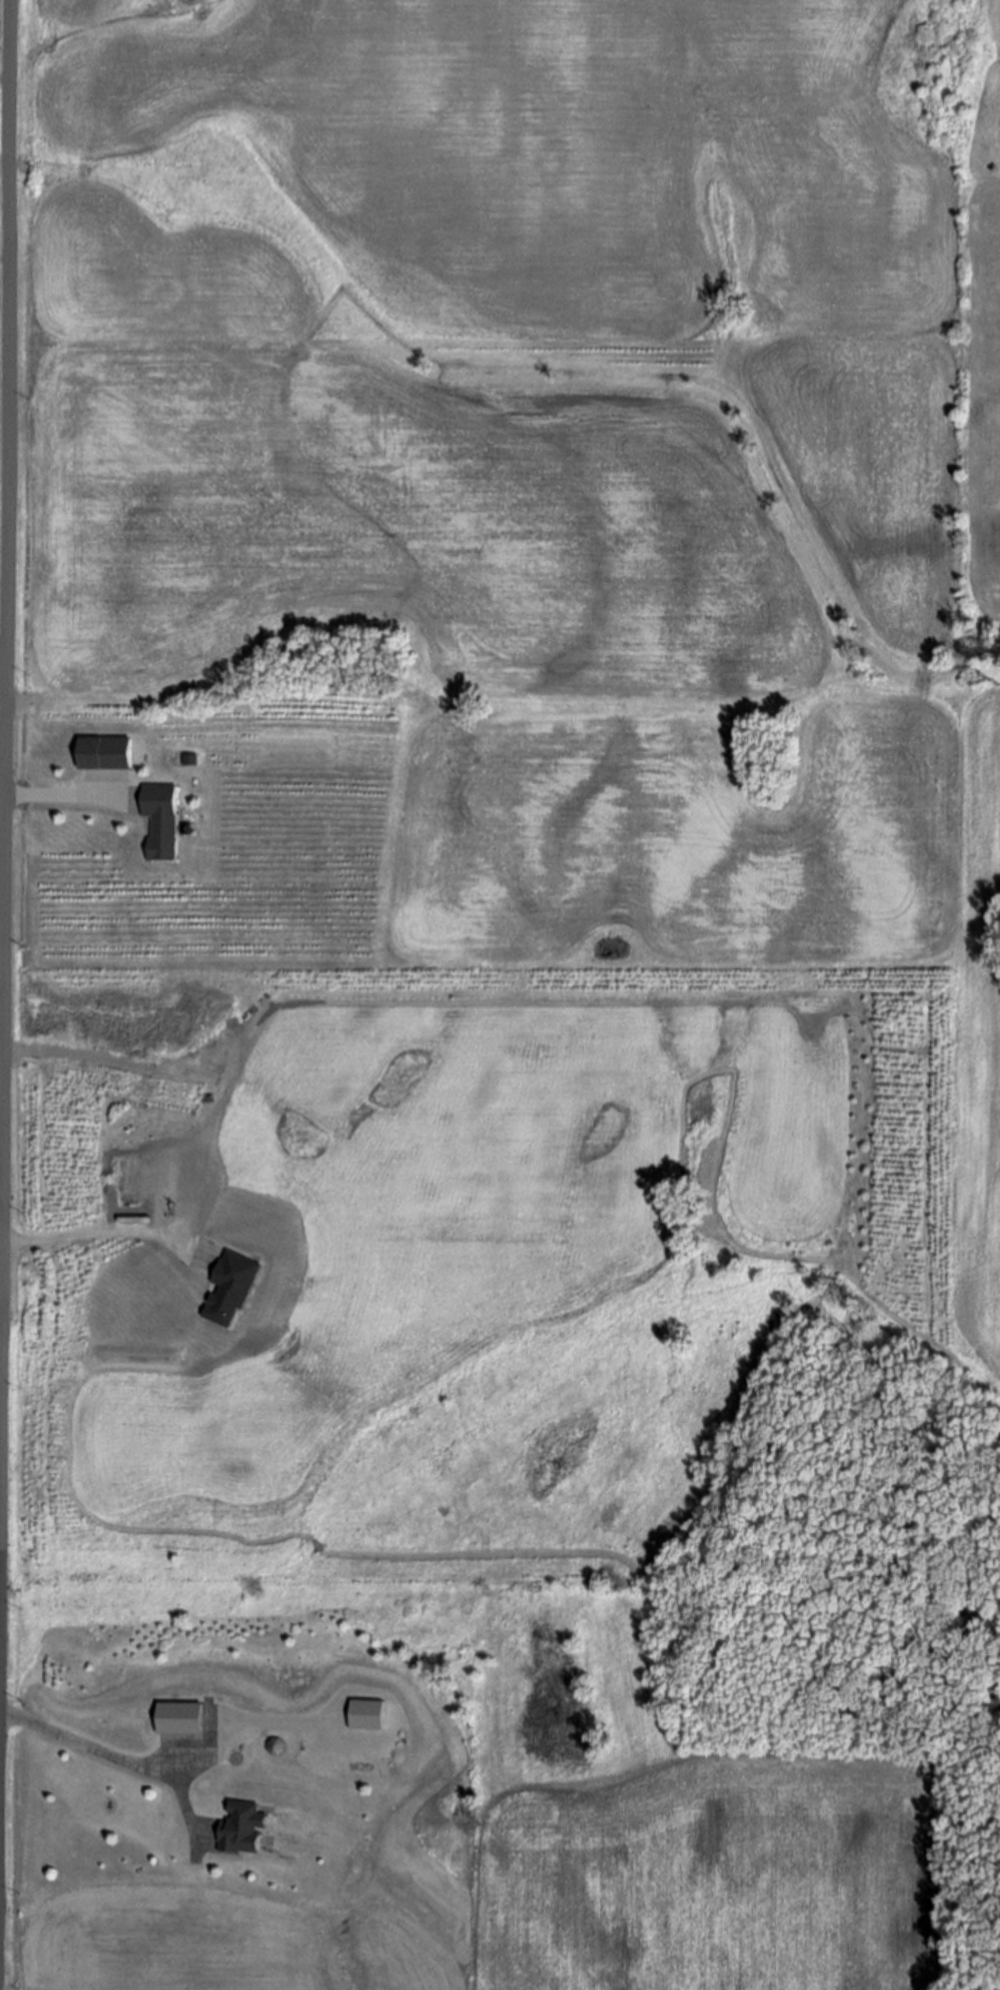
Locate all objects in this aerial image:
road: (5, 546)
crop: (542, 658)
building: (106, 752)
road: (58, 797)
building: (158, 822)
road: (102, 1242)
building: (231, 1289)
building: (183, 1717)
building: (364, 1717)
building: (277, 1746)
road: (102, 1755)
building: (245, 1830)
crop: (567, 1892)

